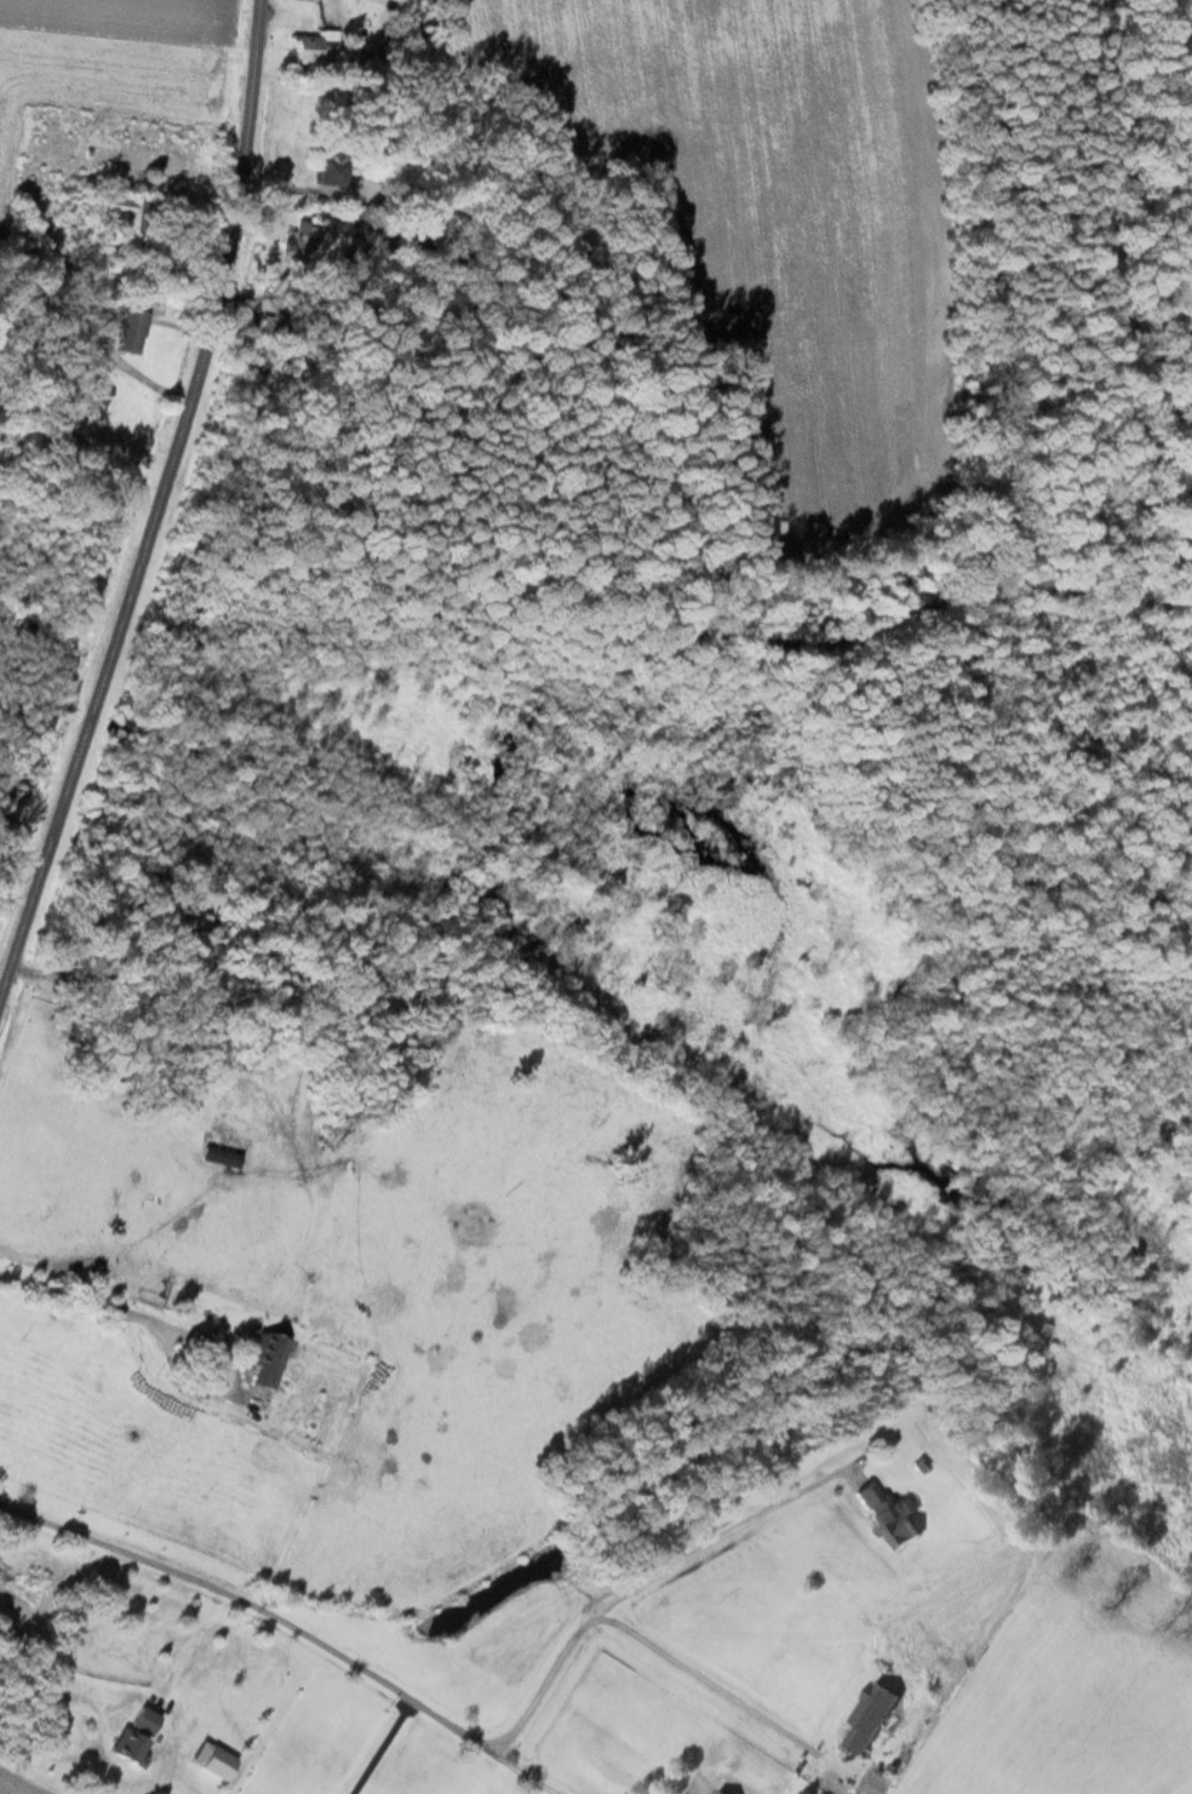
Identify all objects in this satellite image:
building: (315, 50)
building: (329, 174)
building: (124, 211)
building: (296, 241)
building: (131, 333)
building: (242, 357)
building: (265, 368)
road: (155, 516)
building: (223, 1158)
building: (268, 1358)
building: (888, 1517)
road: (644, 1582)
road: (288, 1627)
building: (867, 1718)
building: (145, 1723)
building: (131, 1749)
building: (718, 1792)

